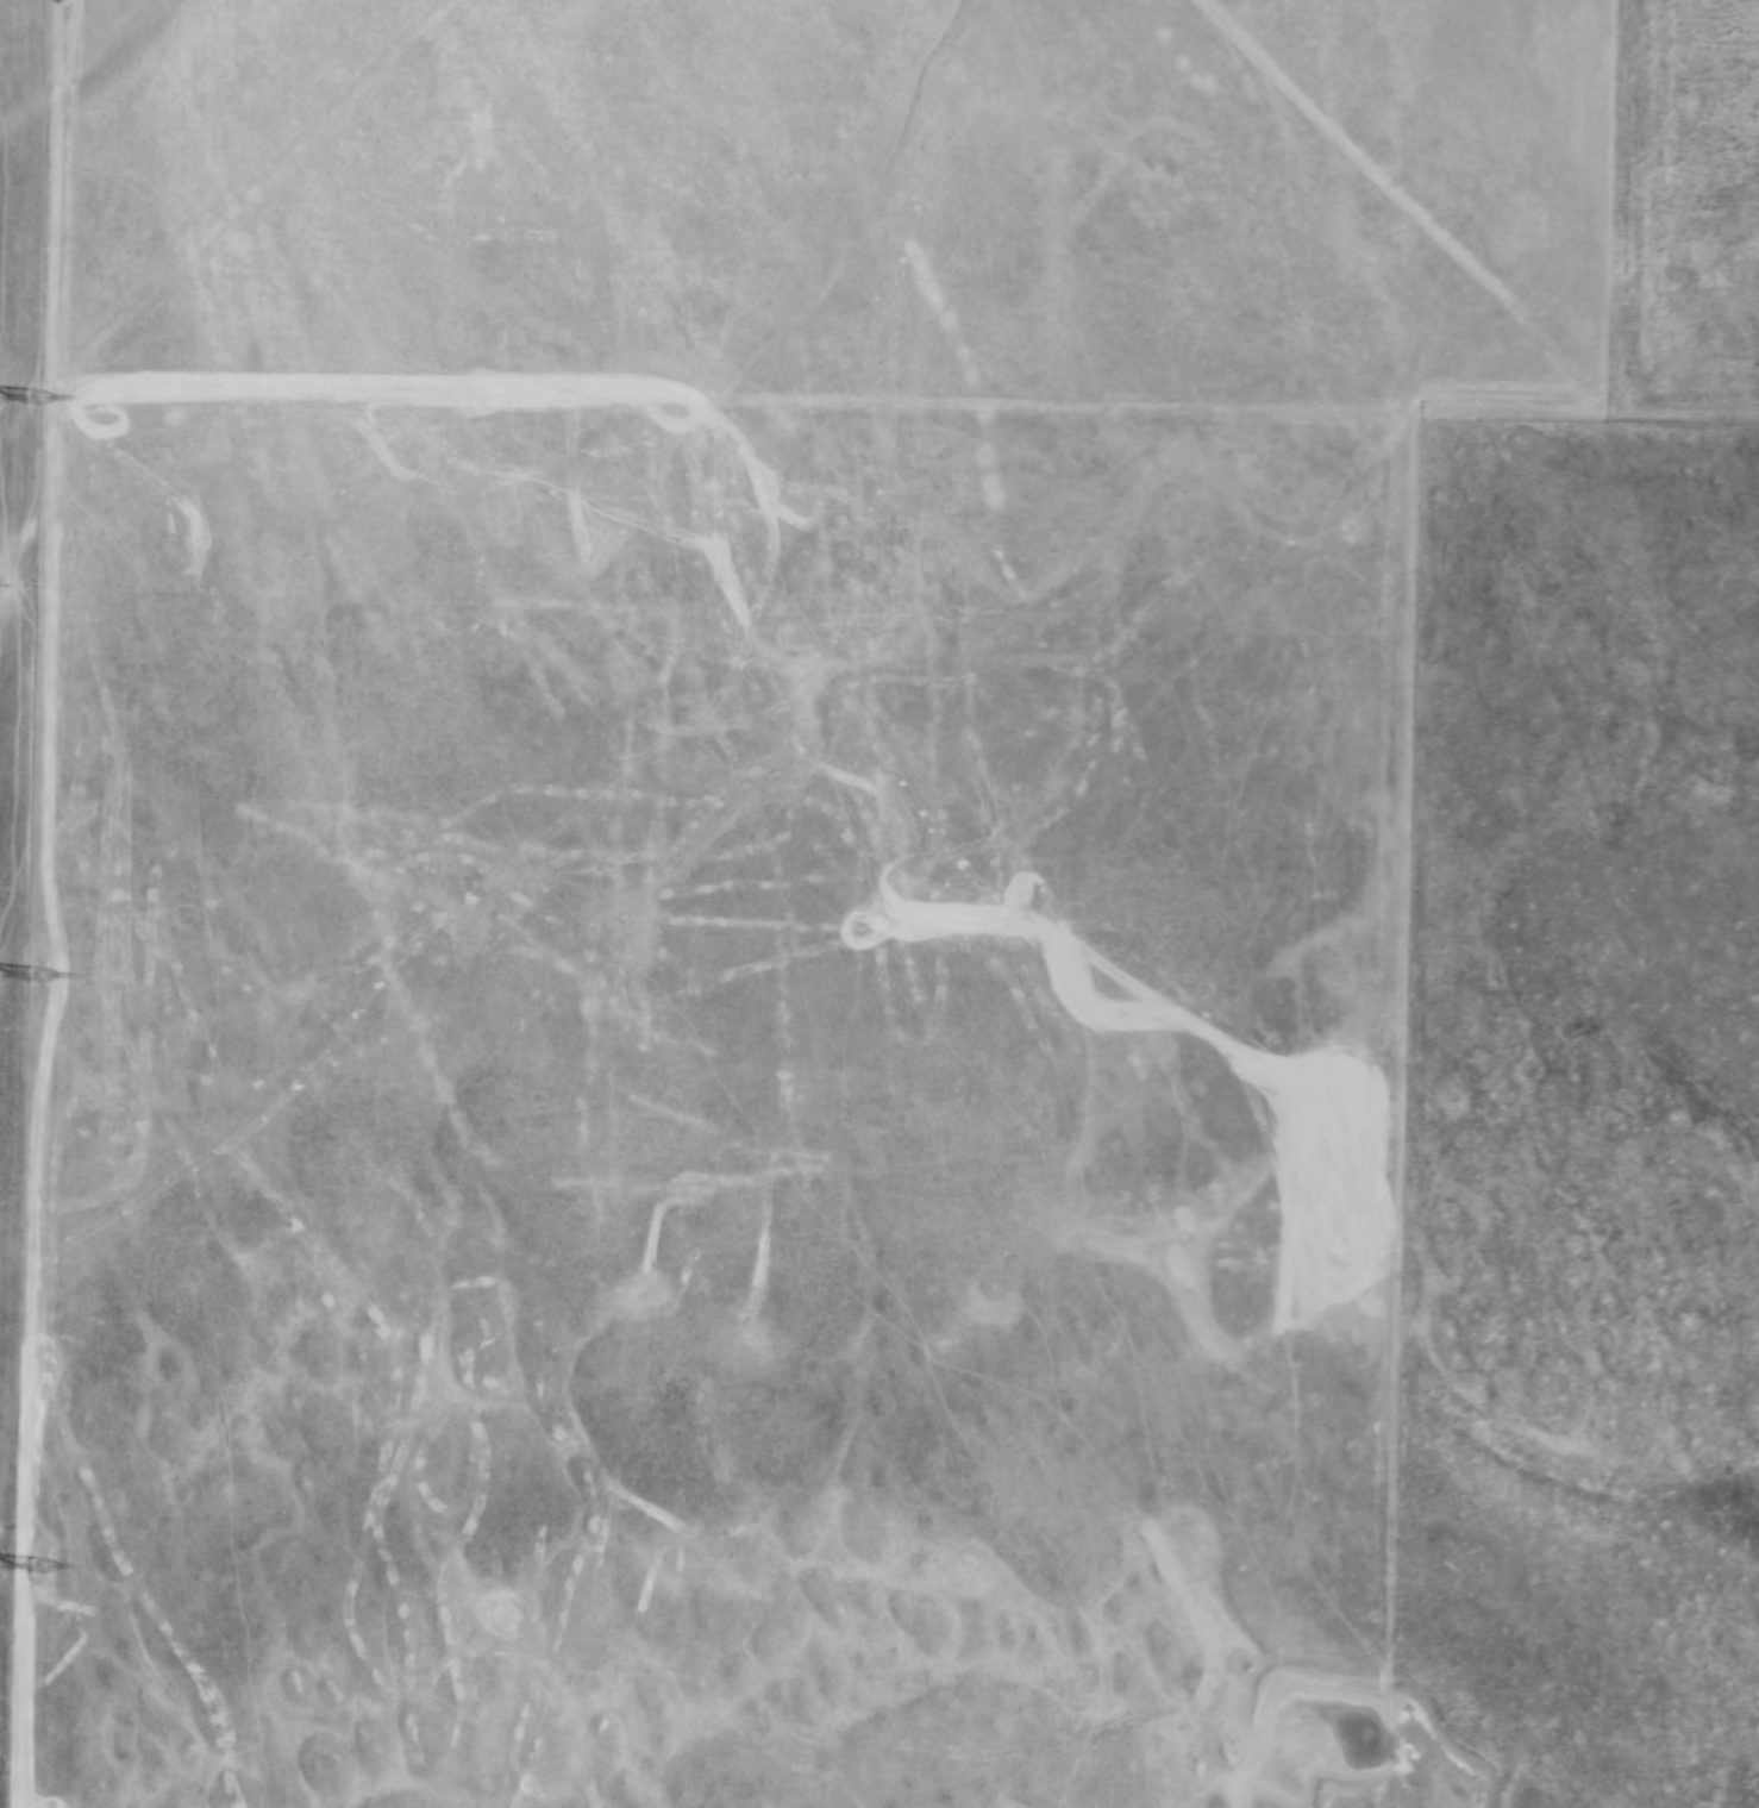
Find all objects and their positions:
crop: (1686, 21)
crop: (1685, 237)
road: (1620, 274)
power tower: (33, 395)
road: (734, 399)
road: (50, 481)
power tower: (37, 974)
road: (1401, 1041)
power tower: (37, 1566)

